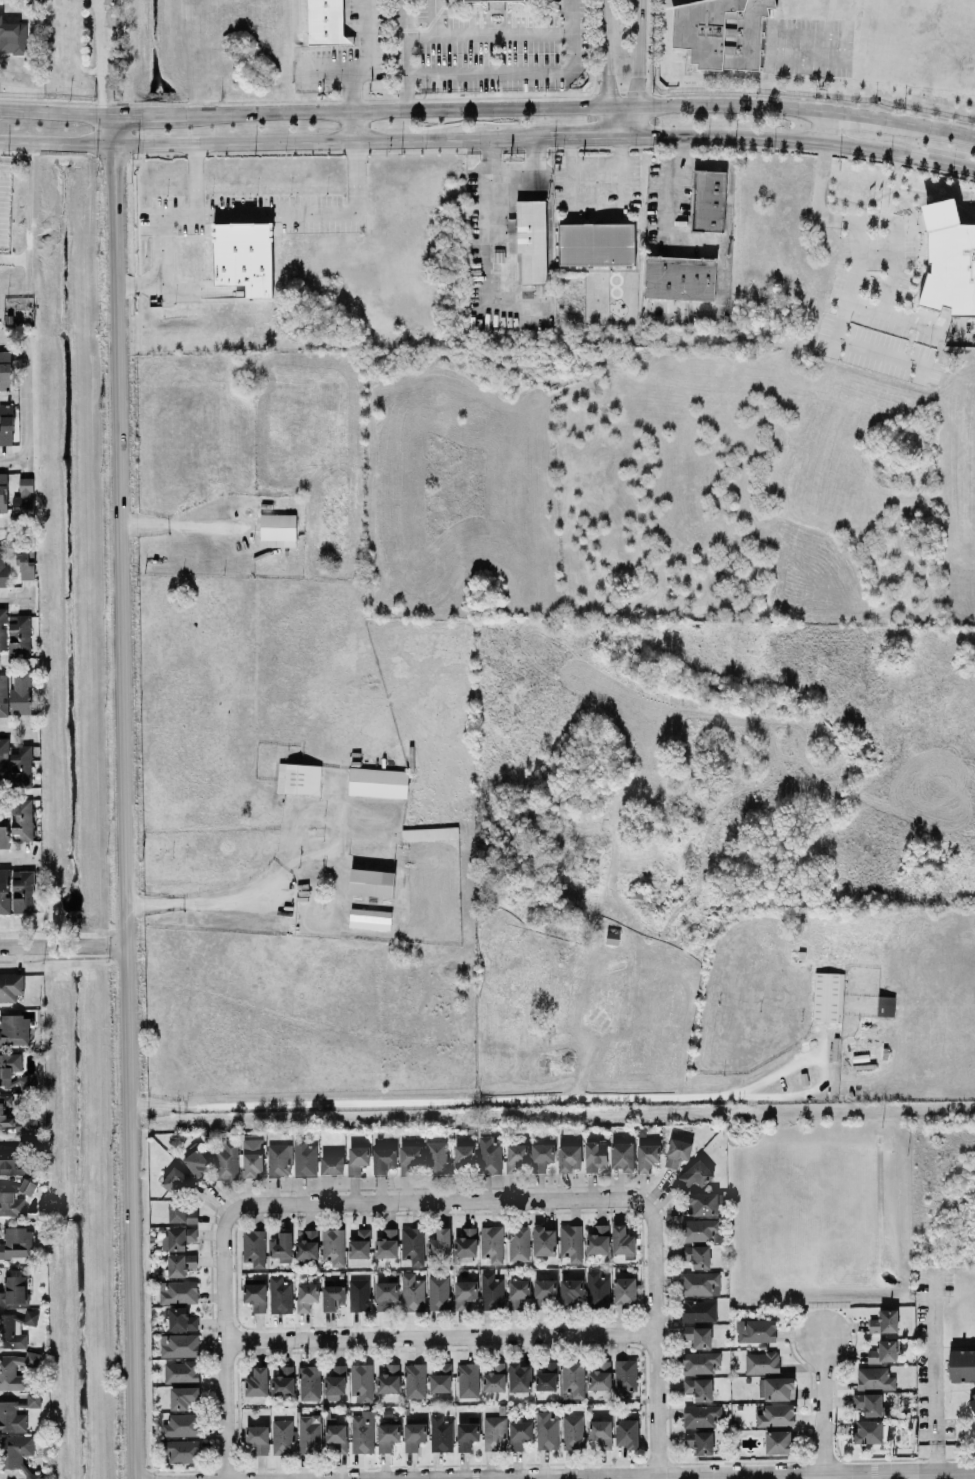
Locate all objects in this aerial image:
road: (434, 18)
building: (326, 22)
building: (720, 31)
road: (369, 34)
road: (490, 35)
building: (13, 37)
park: (918, 43)
road: (637, 53)
road: (101, 54)
road: (406, 54)
road: (605, 55)
road: (330, 68)
road: (524, 71)
road: (354, 89)
road: (589, 104)
road: (51, 111)
road: (271, 111)
road: (146, 112)
road: (864, 114)
road: (623, 120)
road: (355, 125)
road: (824, 125)
road: (939, 127)
road: (586, 137)
road: (453, 140)
road: (799, 140)
road: (178, 143)
road: (707, 161)
road: (597, 162)
road: (194, 178)
road: (535, 181)
road: (492, 184)
road: (597, 198)
building: (709, 200)
road: (29, 213)
road: (259, 213)
road: (867, 218)
building: (531, 241)
road: (703, 241)
building: (597, 243)
building: (244, 256)
road: (14, 258)
building: (949, 260)
building: (680, 277)
road: (482, 286)
road: (174, 290)
road: (857, 303)
building: (5, 370)
road: (29, 380)
building: (6, 424)
road: (14, 454)
building: (3, 492)
building: (24, 498)
road: (183, 524)
building: (278, 529)
building: (26, 563)
building: (3, 567)
road: (15, 597)
building: (3, 628)
building: (20, 635)
building: (20, 692)
building: (3, 694)
road: (15, 724)
building: (4, 759)
building: (21, 765)
building: (299, 778)
building: (378, 782)
road: (126, 794)
building: (22, 819)
building: (4, 828)
building: (429, 833)
road: (16, 854)
building: (371, 882)
building: (17, 890)
road: (247, 905)
road: (292, 912)
building: (370, 918)
road: (64, 946)
building: (11, 986)
building: (828, 996)
building: (885, 1005)
building: (15, 1030)
building: (9, 1066)
building: (25, 1082)
road: (542, 1099)
building: (17, 1119)
building: (678, 1152)
building: (490, 1154)
building: (595, 1155)
building: (623, 1155)
building: (7, 1156)
building: (253, 1156)
building: (542, 1156)
building: (647, 1156)
building: (437, 1157)
building: (464, 1157)
building: (517, 1157)
building: (569, 1157)
building: (305, 1158)
building: (280, 1159)
building: (357, 1159)
building: (384, 1159)
building: (410, 1159)
building: (196, 1161)
building: (227, 1161)
building: (332, 1164)
building: (696, 1174)
building: (176, 1179)
building: (28, 1186)
building: (11, 1201)
road: (438, 1201)
building: (703, 1203)
building: (182, 1212)
building: (701, 1230)
building: (179, 1237)
building: (598, 1239)
building: (544, 1240)
building: (622, 1240)
building: (17, 1242)
building: (466, 1242)
building: (571, 1242)
building: (387, 1243)
building: (439, 1243)
building: (492, 1243)
building: (518, 1243)
building: (308, 1244)
building: (360, 1244)
building: (413, 1244)
building: (334, 1246)
building: (254, 1247)
building: (697, 1255)
building: (181, 1263)
building: (700, 1283)
building: (597, 1289)
building: (386, 1290)
building: (492, 1290)
building: (625, 1290)
building: (15, 1291)
building: (178, 1291)
building: (570, 1291)
building: (413, 1292)
building: (439, 1292)
building: (545, 1293)
building: (281, 1294)
building: (332, 1294)
building: (359, 1294)
building: (466, 1294)
building: (307, 1295)
building: (256, 1296)
building: (699, 1310)
building: (181, 1319)
building: (885, 1321)
building: (7, 1327)
building: (756, 1330)
road: (440, 1336)
building: (698, 1336)
road: (655, 1338)
road: (226, 1342)
building: (179, 1344)
building: (883, 1352)
road: (933, 1358)
building: (700, 1362)
building: (762, 1362)
building: (962, 1365)
building: (7, 1369)
building: (181, 1371)
building: (625, 1374)
building: (519, 1376)
building: (547, 1376)
building: (600, 1376)
building: (441, 1377)
building: (495, 1377)
building: (573, 1378)
building: (875, 1378)
building: (389, 1379)
building: (468, 1379)
building: (415, 1380)
building: (283, 1381)
building: (362, 1381)
building: (257, 1382)
building: (309, 1382)
building: (335, 1382)
building: (775, 1387)
building: (699, 1388)
building: (183, 1396)
building: (972, 1402)
building: (868, 1403)
road: (822, 1405)
building: (8, 1409)
building: (701, 1415)
building: (777, 1415)
building: (182, 1424)
building: (547, 1429)
building: (363, 1431)
building: (573, 1431)
building: (869, 1431)
building: (388, 1432)
building: (601, 1432)
building: (309, 1433)
building: (441, 1433)
building: (494, 1433)
building: (520, 1433)
building: (627, 1433)
building: (467, 1434)
building: (335, 1435)
building: (414, 1435)
building: (283, 1436)
building: (258, 1438)
building: (700, 1441)
building: (778, 1441)
building: (182, 1450)
road: (934, 1459)
road: (737, 1474)
road: (920, 1476)

